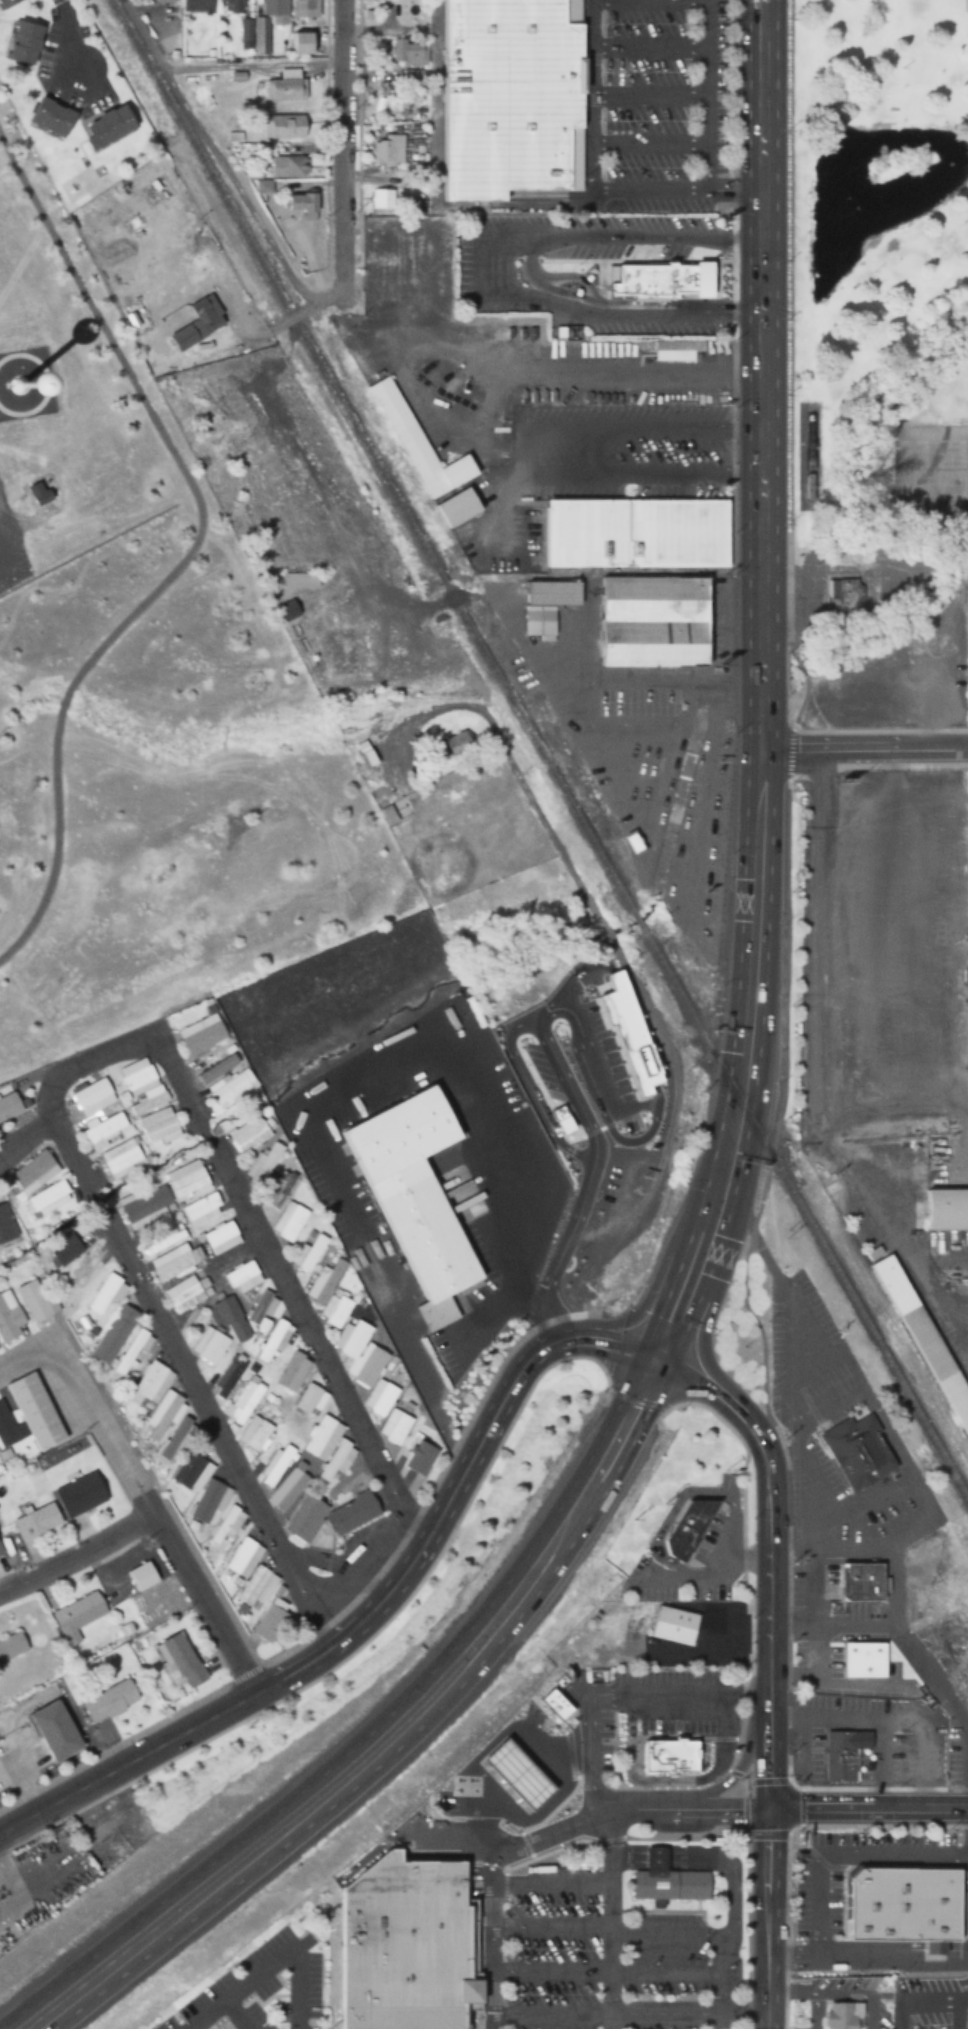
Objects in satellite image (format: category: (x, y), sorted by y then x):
building: (163, 1)
building: (6, 3)
building: (196, 5)
building: (232, 6)
building: (966, 6)
building: (272, 8)
building: (303, 8)
building: (259, 36)
building: (24, 42)
building: (302, 43)
road: (324, 46)
building: (407, 52)
road: (328, 60)
building: (285, 87)
building: (510, 97)
building: (52, 116)
building: (108, 126)
building: (286, 127)
road: (339, 136)
building: (387, 149)
road: (213, 155)
building: (287, 167)
building: (380, 198)
building: (301, 202)
park: (870, 243)
building: (645, 276)
road: (302, 308)
building: (197, 319)
road: (787, 325)
building: (677, 350)
road: (759, 358)
building: (417, 444)
railway: (370, 454)
road: (559, 459)
park: (926, 469)
building: (811, 479)
building: (37, 492)
building: (467, 503)
building: (635, 533)
road: (190, 553)
building: (300, 580)
building: (840, 597)
building: (547, 605)
building: (286, 611)
building: (654, 621)
road: (797, 664)
road: (574, 672)
road: (799, 703)
building: (453, 742)
road: (864, 752)
road: (788, 753)
building: (365, 754)
park: (165, 790)
building: (633, 841)
railway: (637, 920)
road: (785, 960)
building: (619, 977)
road: (636, 981)
building: (573, 982)
building: (201, 1034)
building: (572, 1042)
park: (891, 1044)
road: (758, 1047)
building: (225, 1081)
building: (141, 1086)
building: (590, 1087)
building: (93, 1097)
building: (8, 1103)
building: (159, 1127)
building: (105, 1132)
building: (250, 1134)
road: (771, 1155)
building: (123, 1158)
building: (32, 1169)
building: (187, 1180)
building: (280, 1189)
building: (415, 1196)
building: (49, 1198)
building: (146, 1204)
building: (947, 1208)
building: (202, 1210)
railway: (805, 1216)
building: (289, 1221)
building: (6, 1225)
road: (251, 1226)
building: (221, 1238)
building: (163, 1240)
building: (309, 1251)
building: (175, 1262)
building: (243, 1277)
building: (324, 1282)
building: (107, 1293)
building: (187, 1293)
building: (36, 1301)
building: (336, 1308)
road: (612, 1312)
building: (9, 1317)
road: (541, 1317)
building: (232, 1320)
building: (114, 1335)
building: (923, 1338)
road: (613, 1340)
building: (273, 1342)
building: (209, 1346)
building: (133, 1351)
road: (176, 1357)
road: (55, 1362)
traffic signals: (661, 1363)
road: (604, 1370)
building: (293, 1371)
building: (227, 1377)
building: (371, 1377)
road: (608, 1390)
road: (637, 1396)
building: (157, 1399)
building: (310, 1399)
building: (244, 1401)
road: (668, 1403)
building: (36, 1411)
building: (6, 1427)
building: (255, 1433)
road: (111, 1438)
building: (174, 1440)
building: (328, 1447)
building: (858, 1453)
building: (414, 1454)
road: (743, 1463)
building: (275, 1465)
building: (193, 1468)
road: (788, 1471)
road: (433, 1480)
building: (286, 1493)
building: (208, 1501)
road: (674, 1508)
building: (329, 1515)
building: (36, 1522)
building: (227, 1525)
building: (688, 1527)
building: (0, 1552)
road: (891, 1553)
road: (77, 1554)
building: (243, 1557)
road: (745, 1559)
road: (814, 1561)
building: (142, 1576)
road: (189, 1580)
building: (861, 1582)
building: (256, 1588)
road: (374, 1605)
building: (78, 1615)
building: (273, 1616)
building: (673, 1625)
road: (366, 1638)
building: (11, 1645)
road: (820, 1650)
building: (181, 1659)
building: (863, 1660)
road: (917, 1660)
road: (767, 1671)
road: (244, 1672)
building: (960, 1682)
road: (618, 1698)
building: (110, 1700)
building: (890, 1708)
road: (862, 1719)
building: (56, 1729)
road: (369, 1732)
road: (405, 1740)
road: (114, 1744)
road: (916, 1752)
building: (670, 1755)
building: (832, 1756)
road: (734, 1771)
road: (734, 1773)
road: (769, 1779)
road: (796, 1803)
road: (688, 1809)
road: (867, 1810)
traffic signals: (766, 1811)
road: (766, 1834)
road: (817, 1860)
road: (493, 1879)
road: (552, 1879)
building: (666, 1881)
road: (8, 1889)
building: (905, 1902)
road: (611, 1919)
parking lot: (633, 1923)
road: (551, 1926)
parking lot: (878, 1928)
road: (716, 1930)
building: (408, 1945)
road: (551, 1968)
road: (669, 1969)
building: (876, 1994)
road: (938, 1998)
road: (686, 2010)
road: (552, 2012)
building: (841, 2015)

